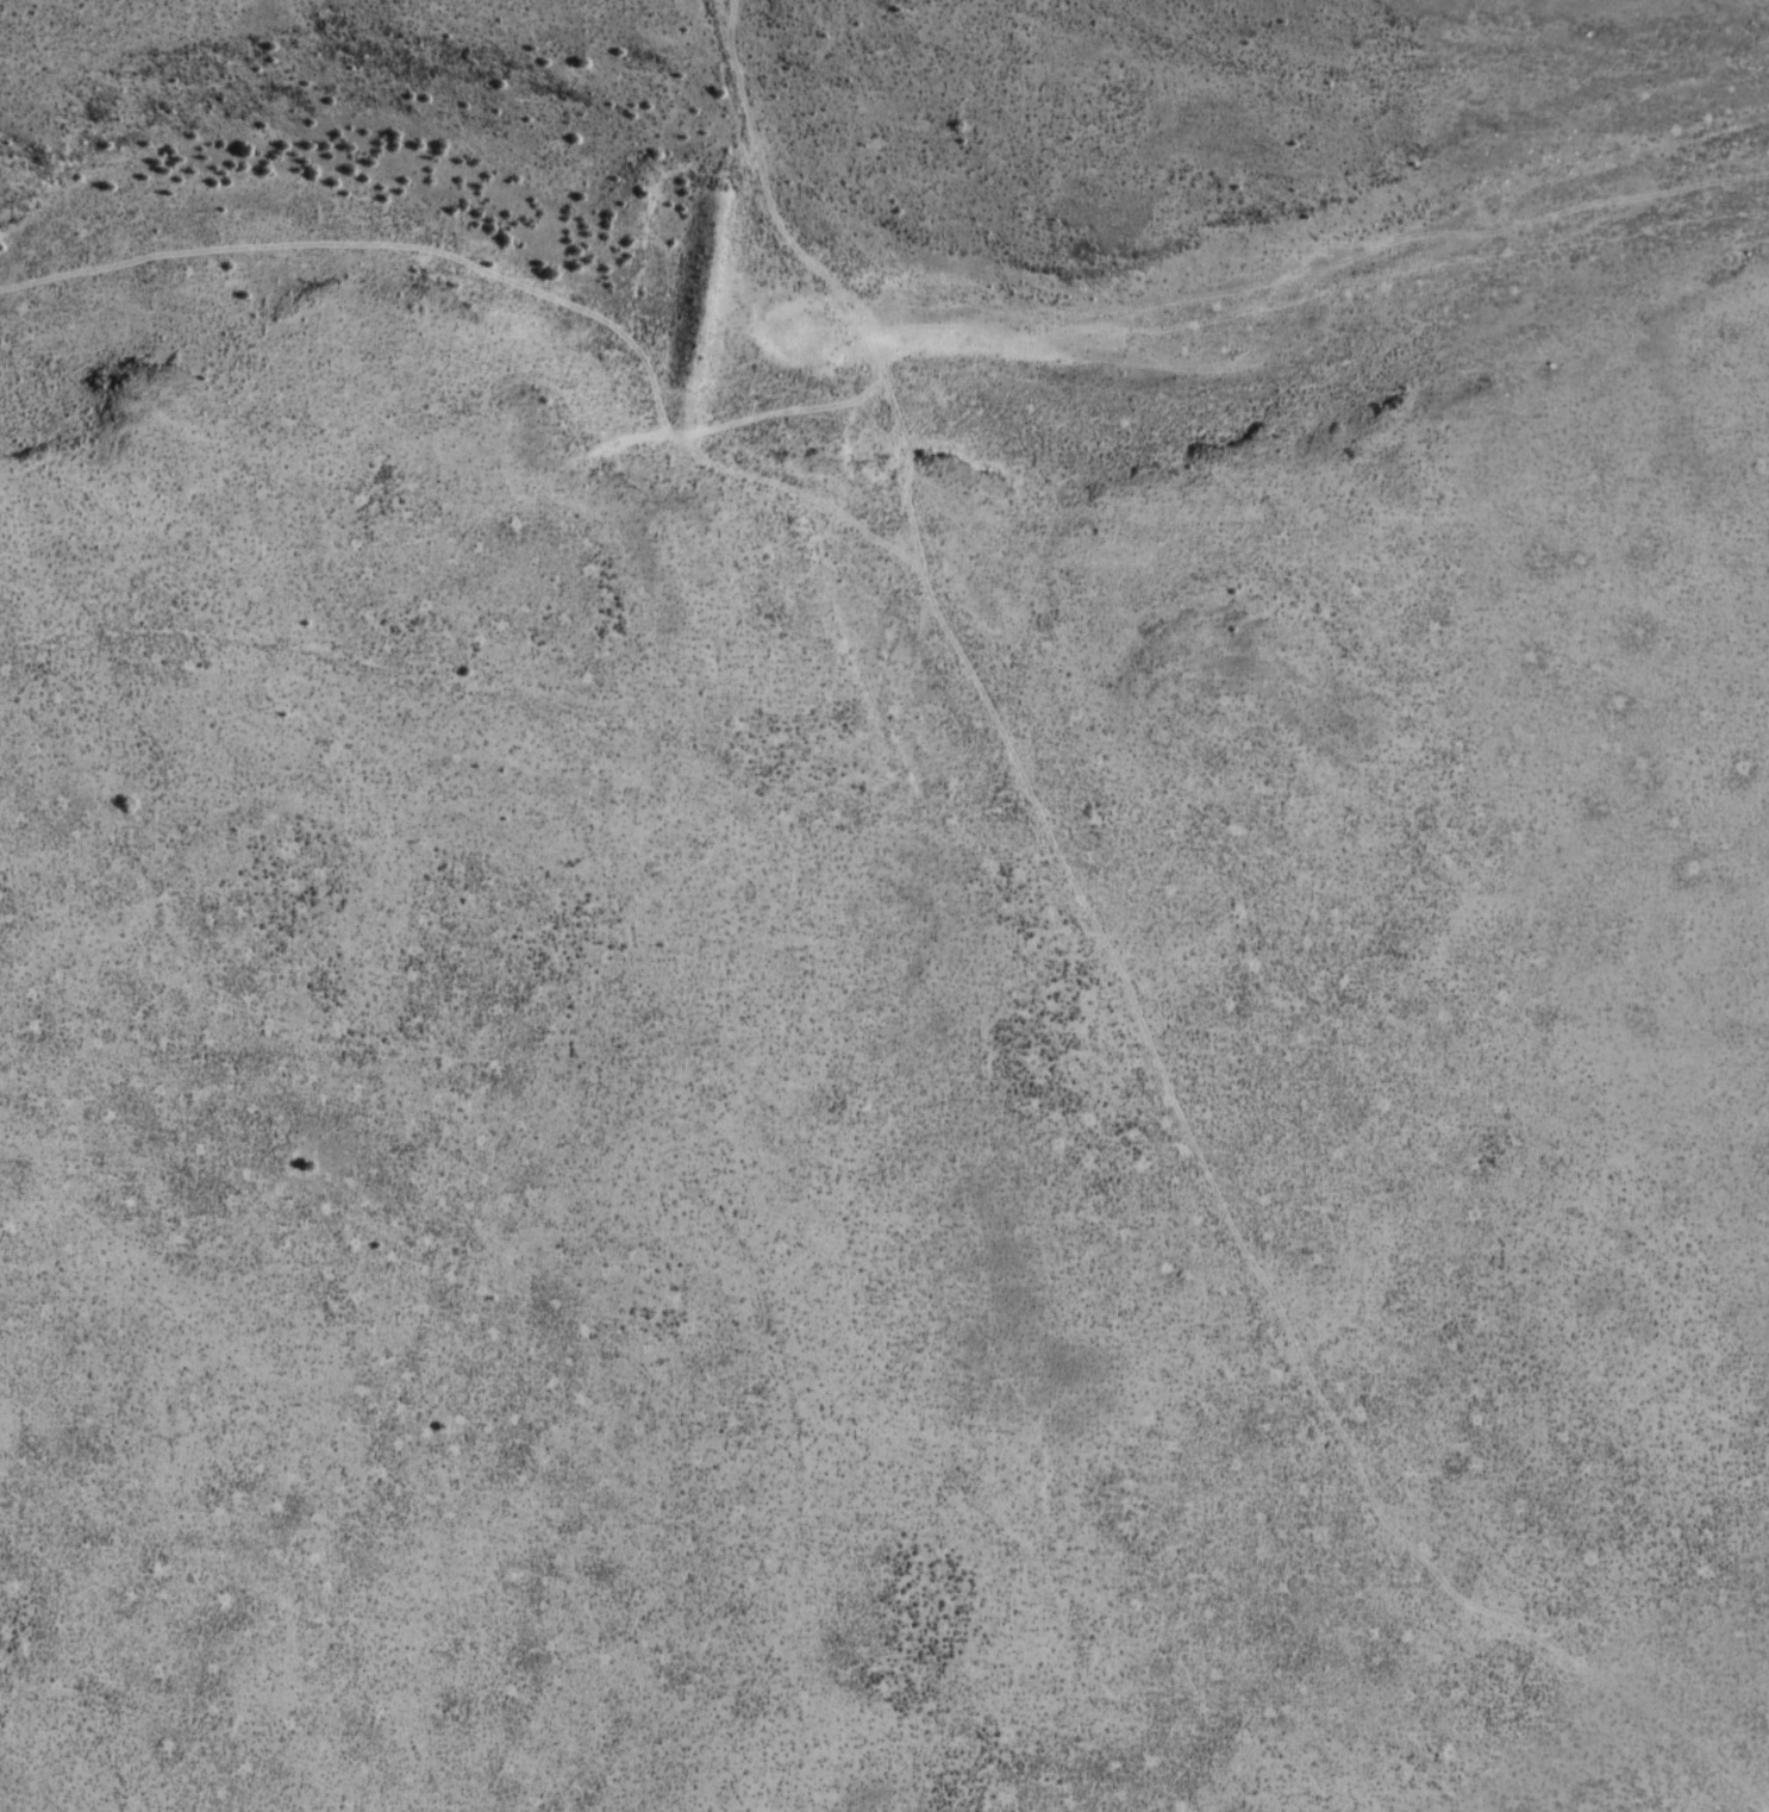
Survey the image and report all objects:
road: (833, 276)
road: (1033, 812)

